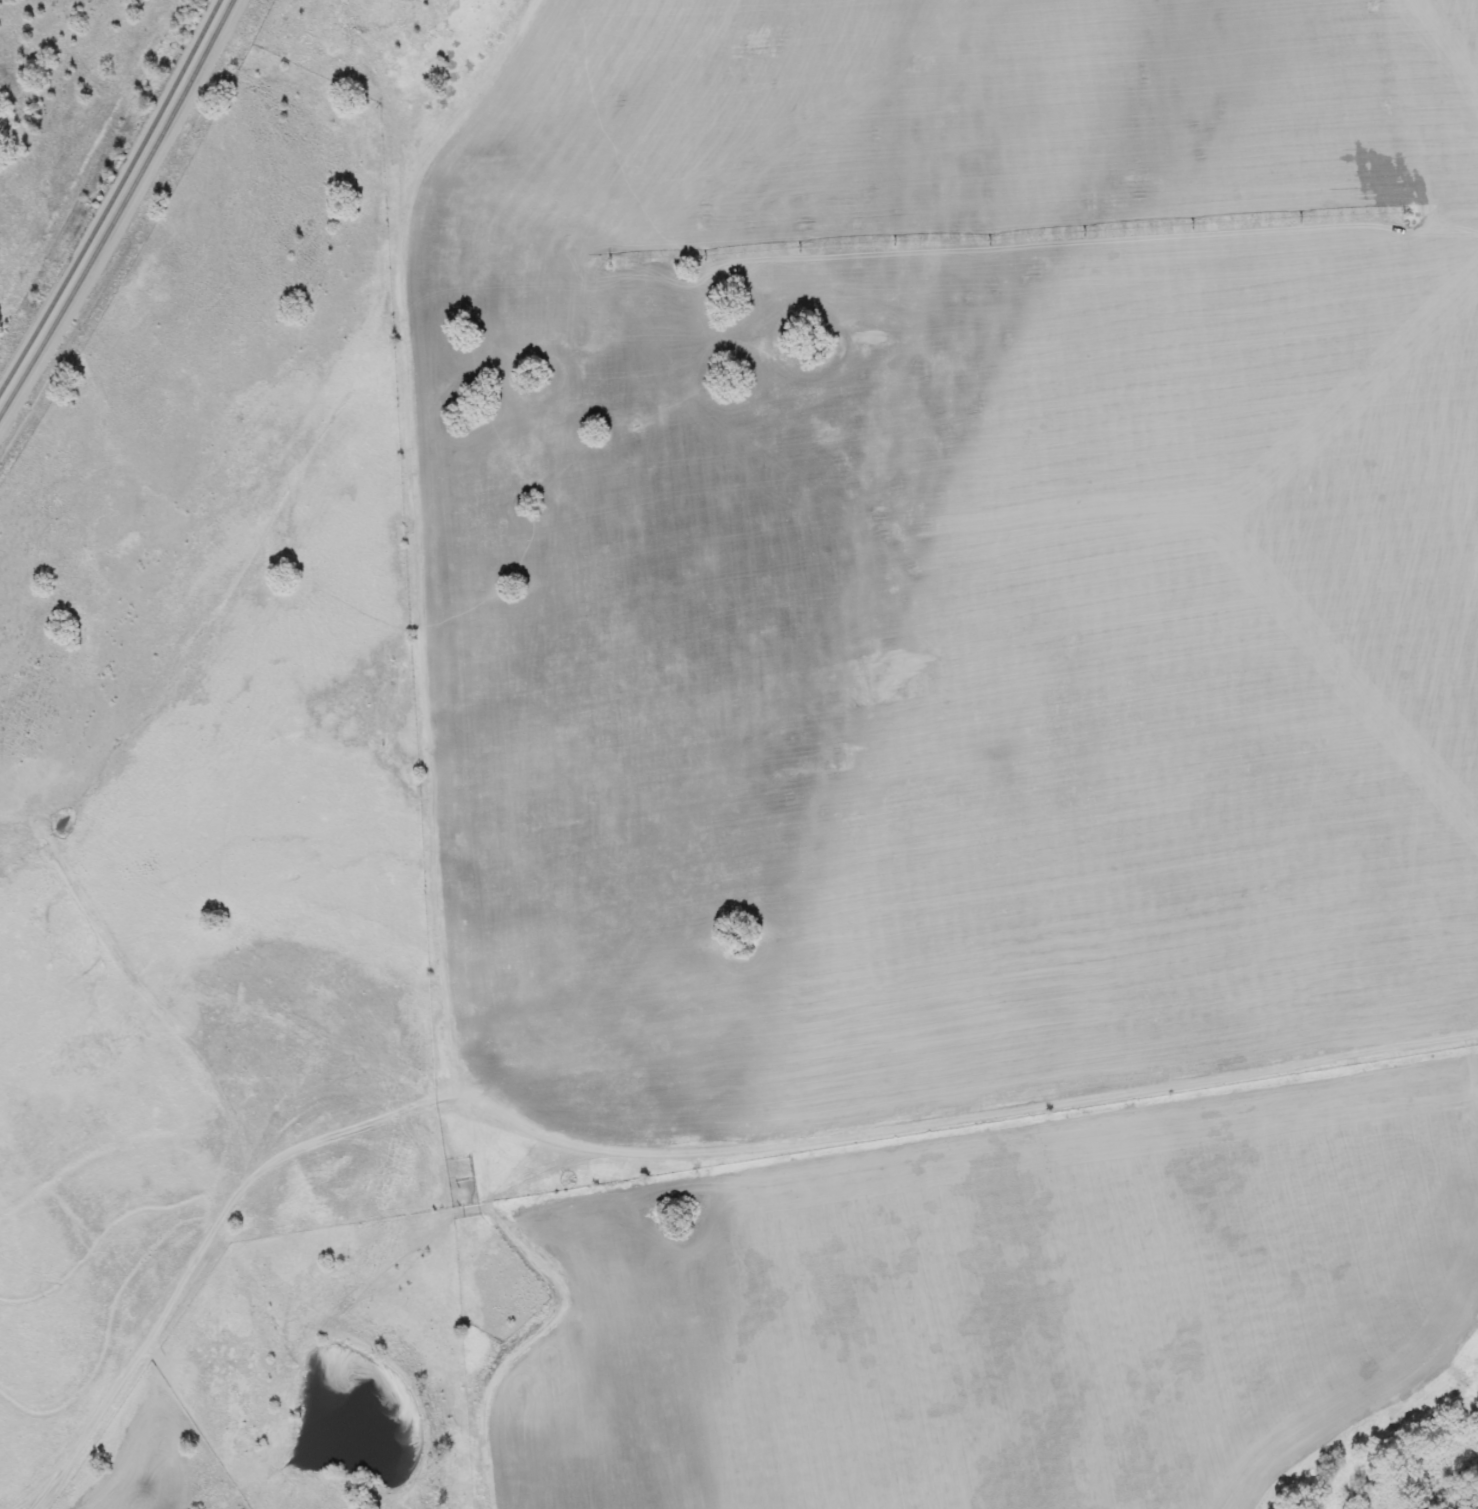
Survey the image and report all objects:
railway: (112, 195)

